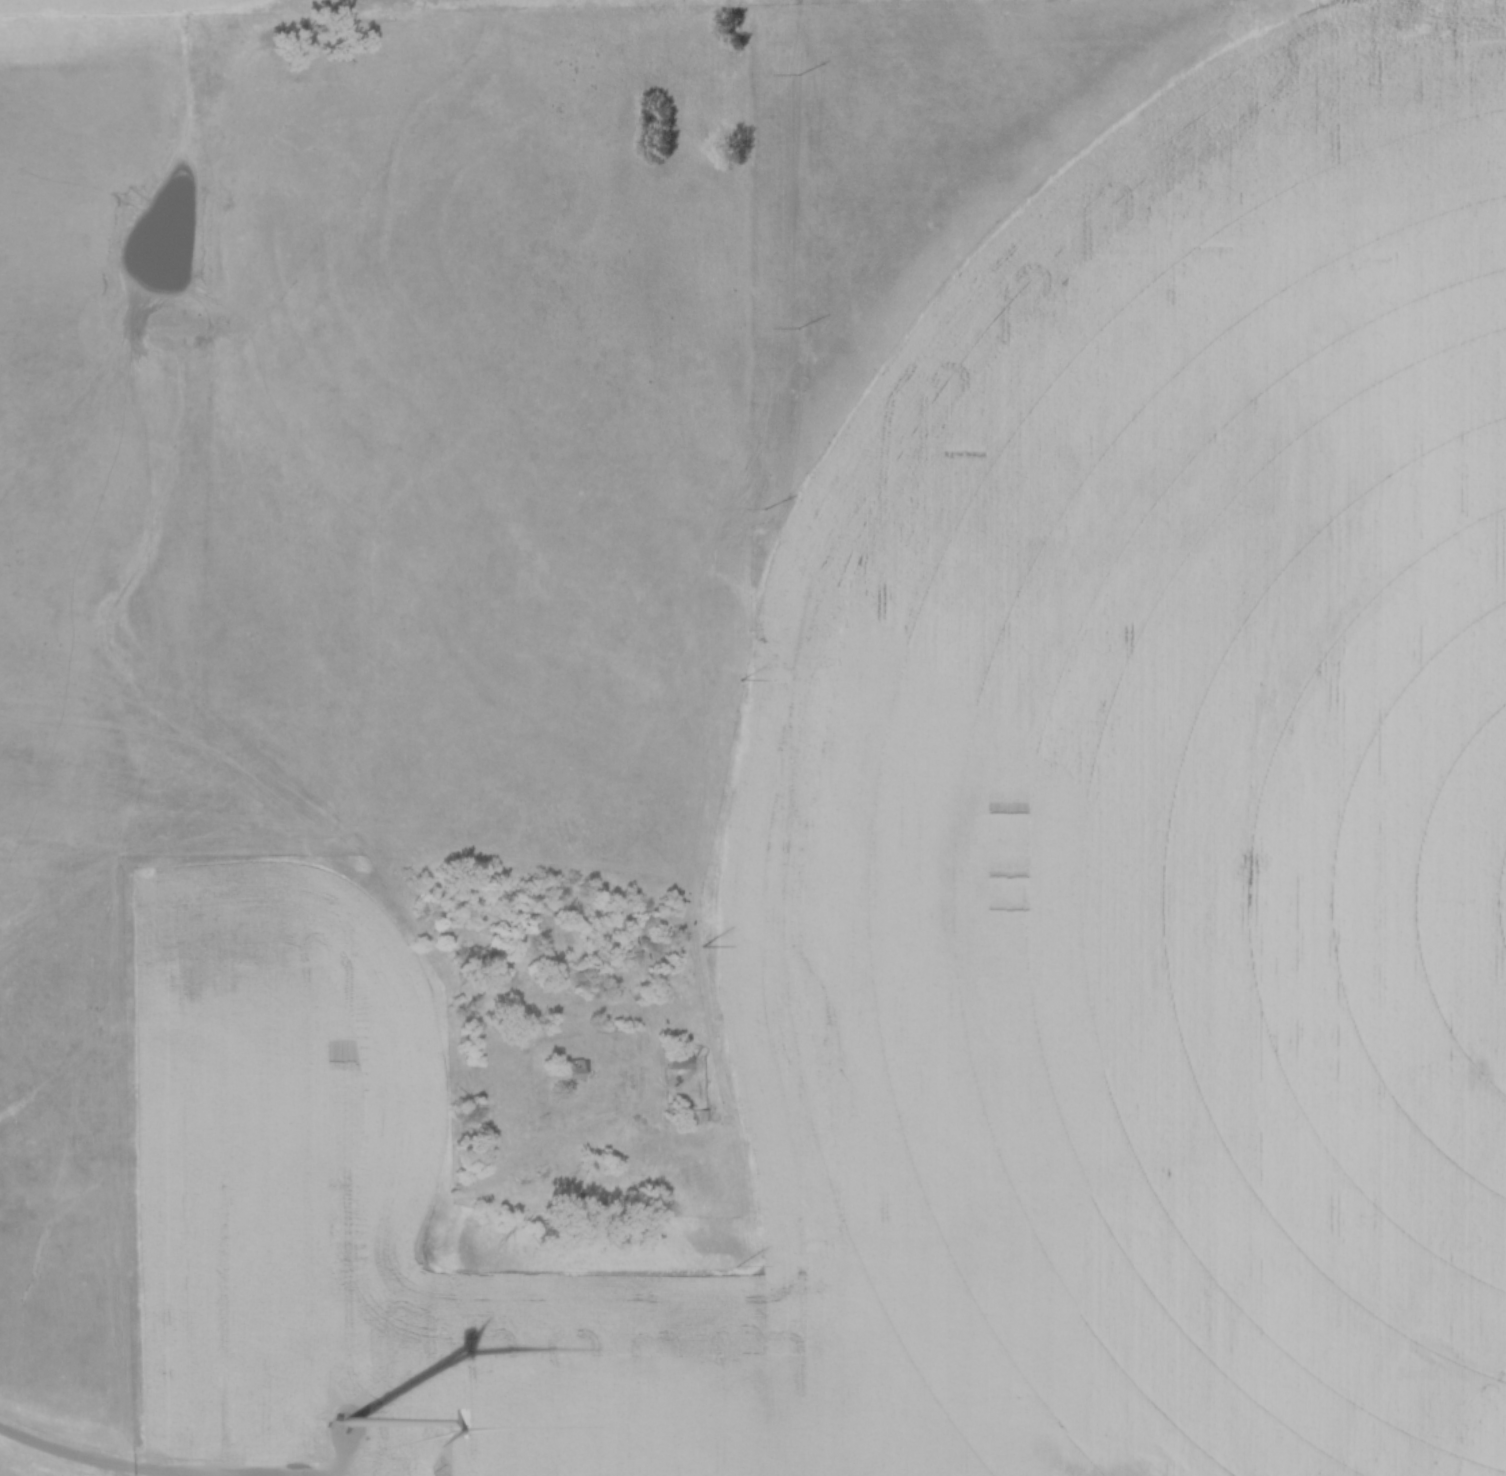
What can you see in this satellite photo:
building: (670, 1059)
building: (569, 1068)
wind turbine: (348, 1421)

